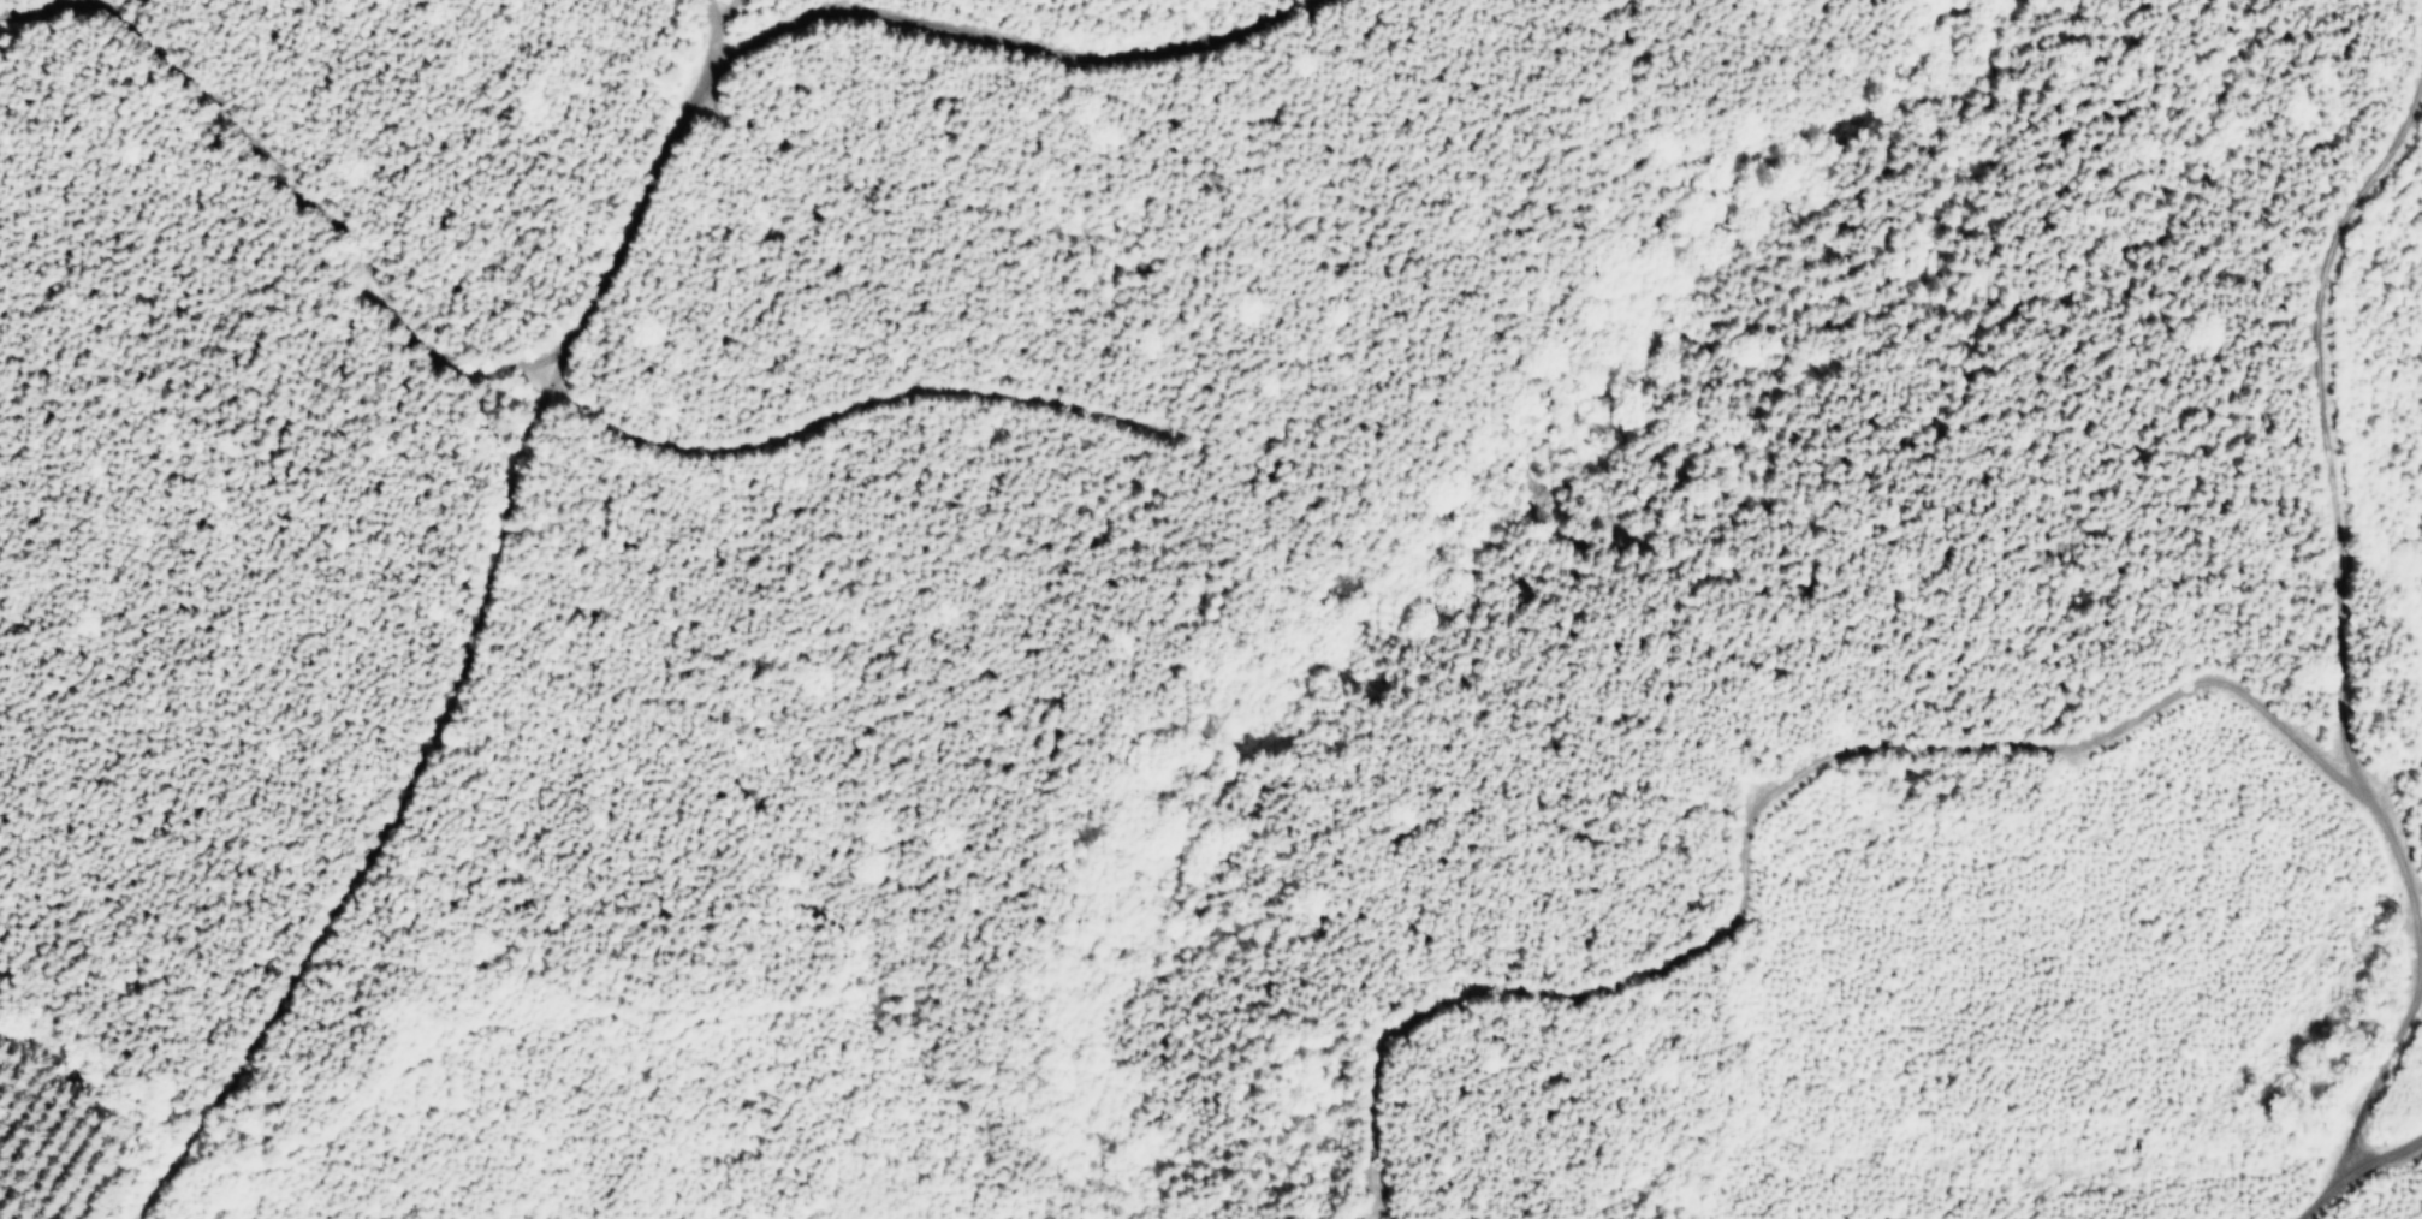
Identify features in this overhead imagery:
road: (2329, 742)

